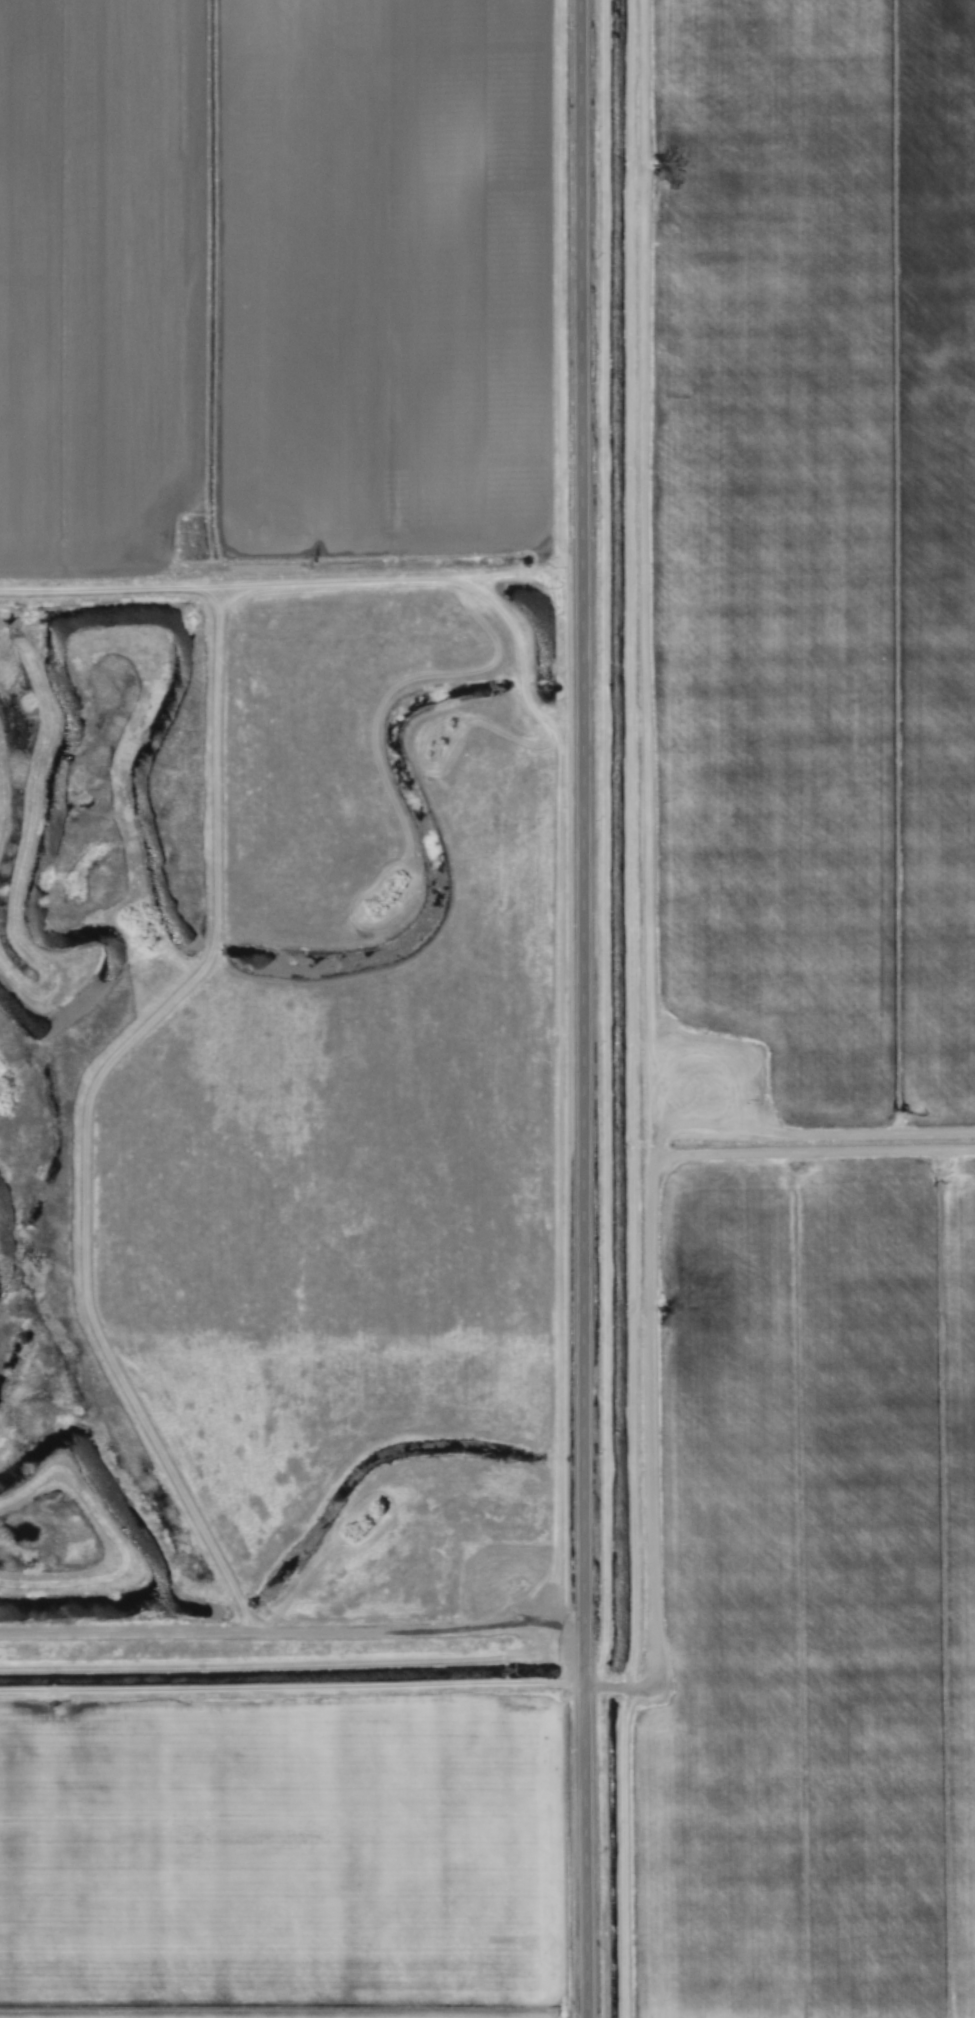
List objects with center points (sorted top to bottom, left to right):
road: (582, 1009)

